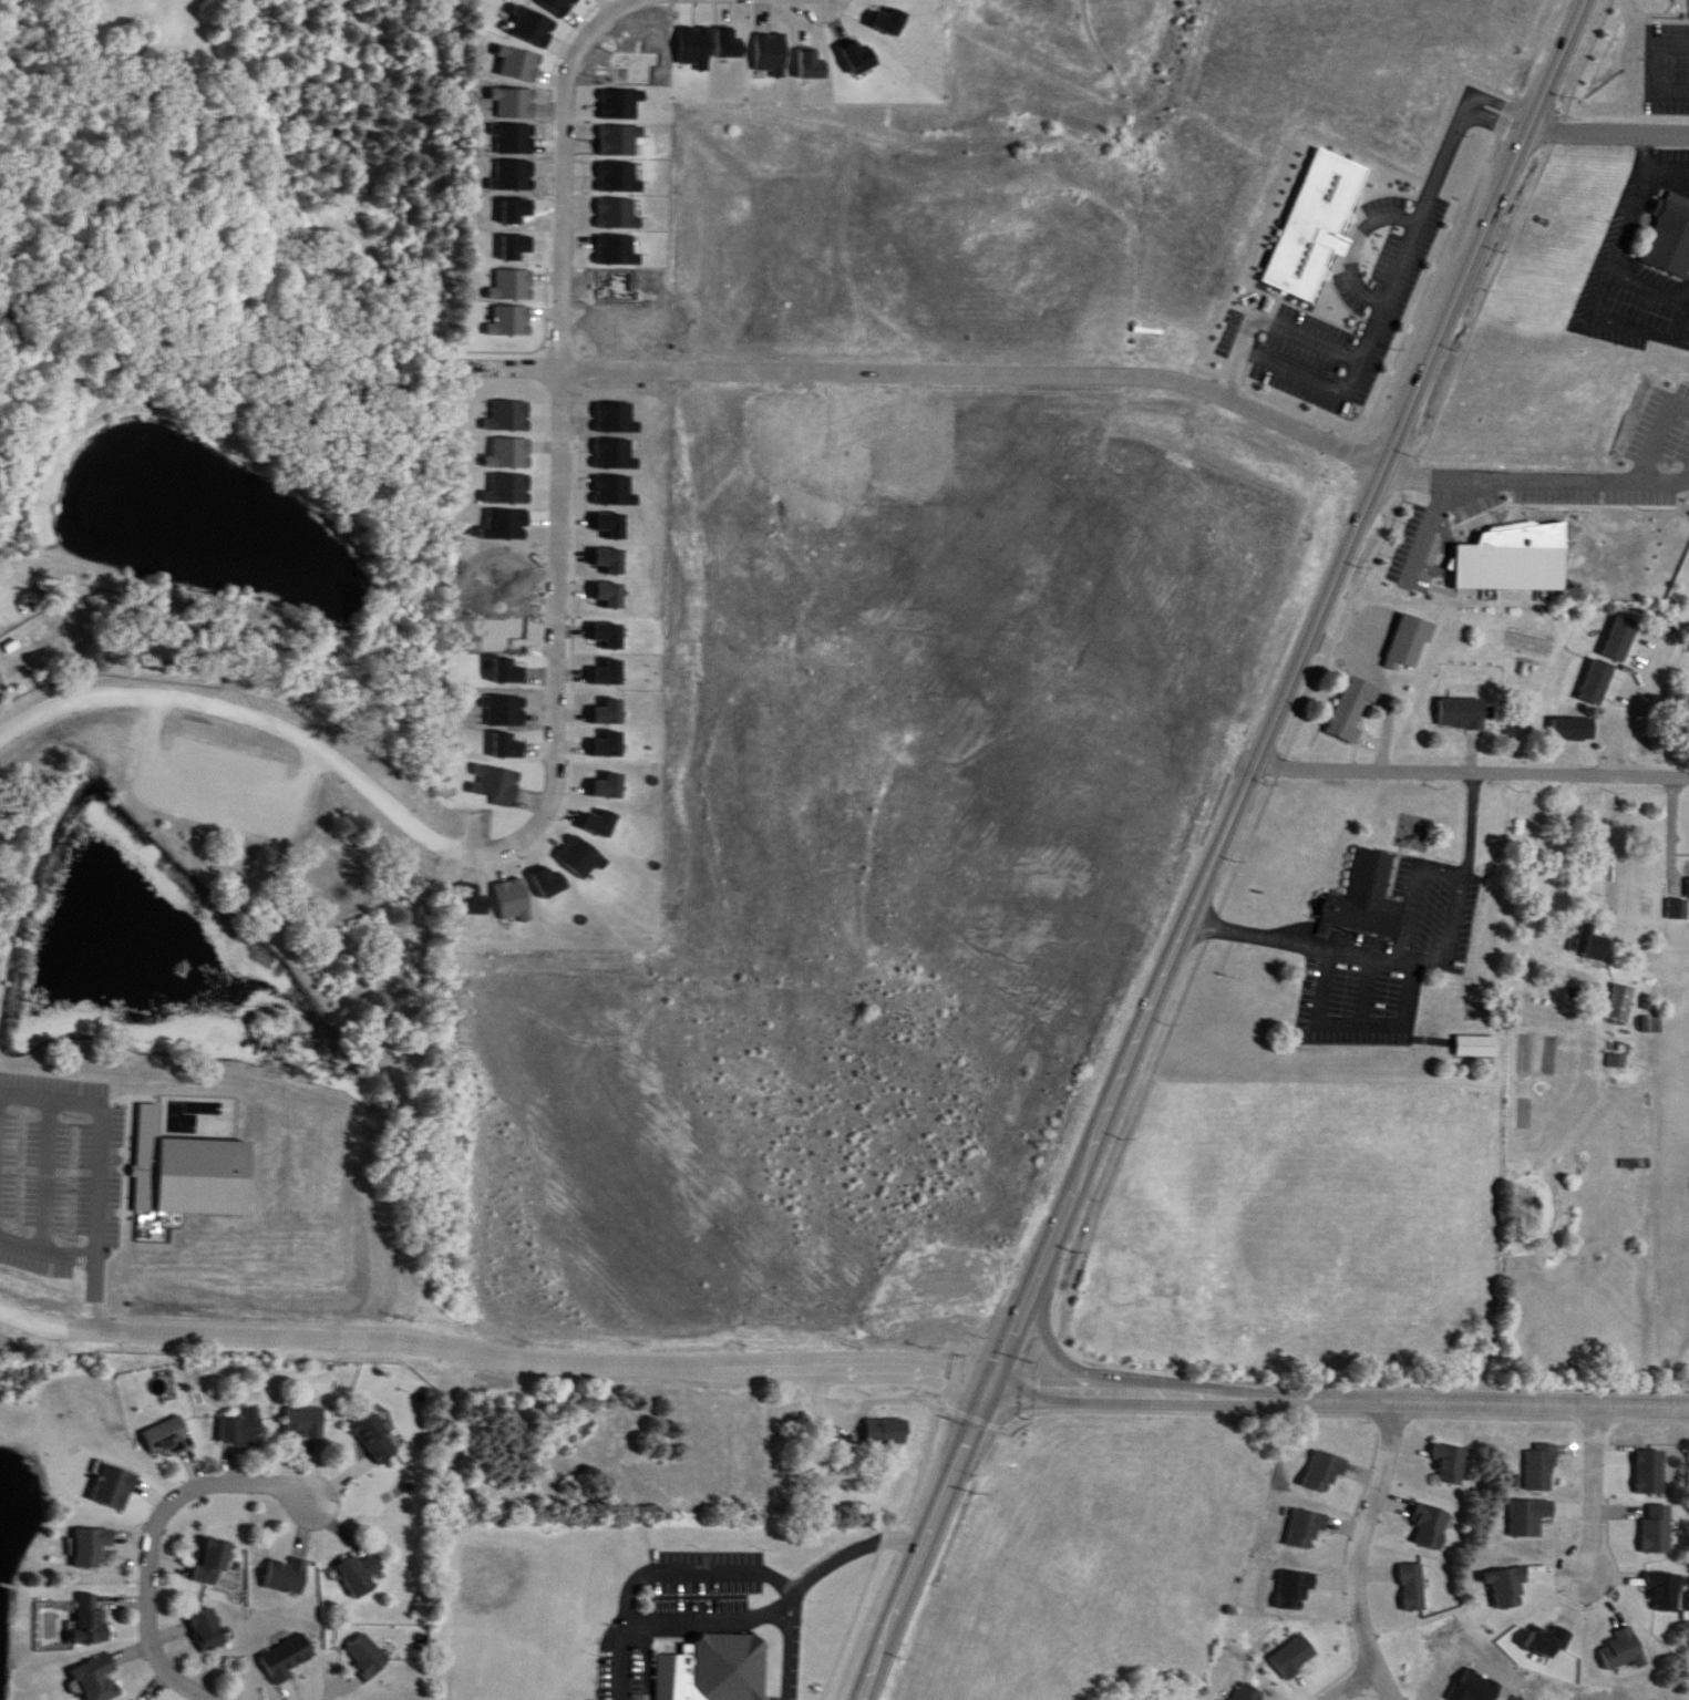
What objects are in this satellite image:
road: (1651, 4)
road: (1670, 7)
road: (1656, 53)
parking lot: (1668, 54)
road: (1507, 107)
road: (1611, 119)
building: (1308, 210)
building: (1666, 223)
road: (1358, 231)
parking lot: (1645, 246)
parking lot: (1380, 290)
road: (1374, 315)
road: (1291, 317)
road: (939, 373)
road: (1382, 390)
road: (562, 442)
road: (1528, 477)
building: (1511, 552)
building: (1621, 638)
building: (1410, 642)
building: (1597, 682)
road: (1391, 689)
road: (1640, 696)
road: (240, 703)
building: (1353, 709)
building: (1463, 713)
building: (1573, 729)
road: (1477, 759)
road: (231, 773)
road: (220, 801)
road: (1473, 811)
parking lot: (236, 813)
road: (1221, 849)
road: (1557, 865)
road: (1423, 878)
building: (1359, 885)
road: (1221, 901)
road: (1460, 907)
road: (1237, 916)
road: (1320, 916)
park: (216, 918)
road: (1367, 937)
building: (1593, 945)
parking lot: (1396, 947)
road: (305, 952)
road: (1371, 973)
building: (1623, 1002)
road: (1360, 1008)
building: (1472, 1029)
building: (1477, 1047)
building: (1618, 1061)
building: (30, 1114)
road: (111, 1117)
building: (1636, 1164)
parking lot: (42, 1173)
water park: (174, 1182)
road: (53, 1238)
road: (107, 1280)
road: (491, 1350)
road: (1338, 1384)
road: (1196, 1397)
road: (1528, 1404)
building: (792, 1416)
building: (305, 1422)
building: (243, 1429)
building: (887, 1431)
building: (375, 1436)
building: (169, 1438)
building: (1452, 1464)
building: (1544, 1469)
road: (1592, 1475)
building: (113, 1486)
road: (1606, 1511)
road: (155, 1537)
road: (855, 1537)
building: (93, 1547)
road: (1361, 1547)
road: (694, 1557)
road: (1345, 1560)
building: (213, 1563)
parking lot: (706, 1575)
building: (361, 1576)
building: (288, 1577)
building: (1414, 1588)
building: (1510, 1588)
building: (1666, 1591)
road: (669, 1604)
building: (91, 1621)
building: (209, 1630)
road: (789, 1646)
building: (1625, 1651)
parking lot: (789, 1655)
building: (368, 1657)
building: (1296, 1657)
building: (703, 1658)
building: (288, 1659)
parking lot: (622, 1663)
building: (99, 1679)
road: (1349, 1679)
road: (322, 1698)

